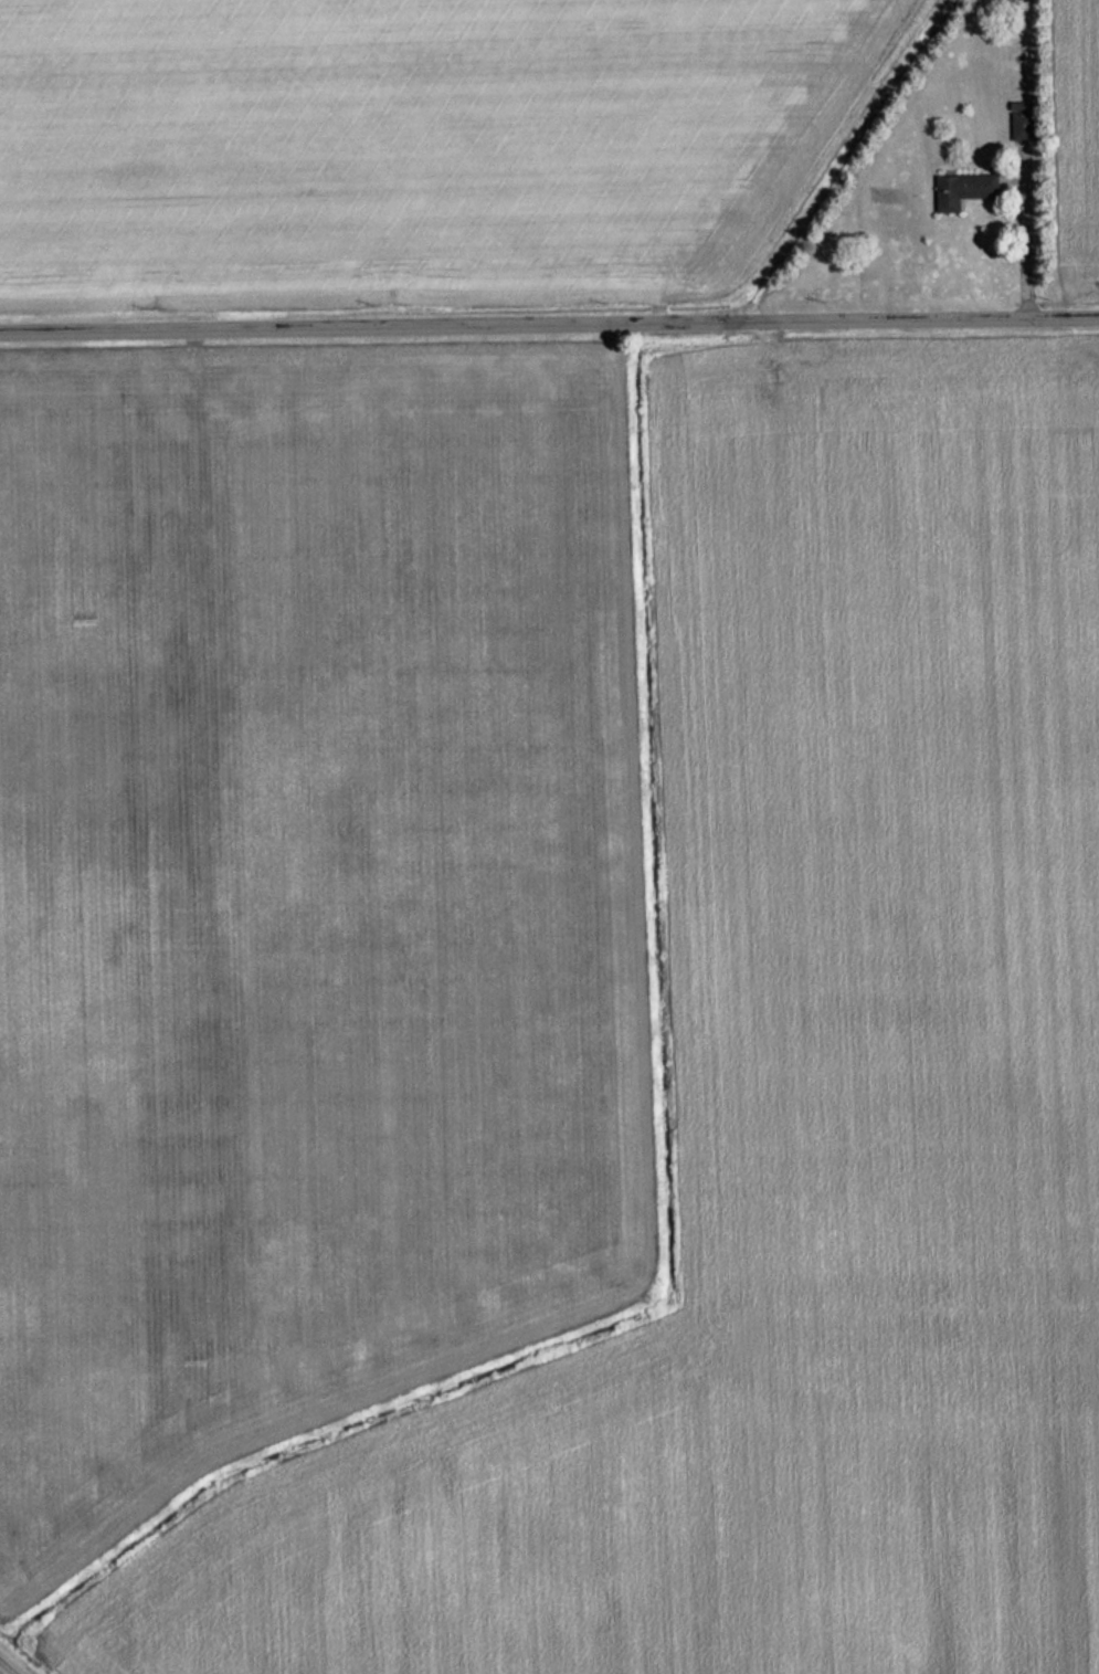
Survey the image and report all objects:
building: (1016, 126)
crop: (1075, 141)
crop: (412, 143)
building: (958, 190)
road: (549, 314)
crop: (299, 894)
crop: (796, 1114)
road: (13, 1662)

